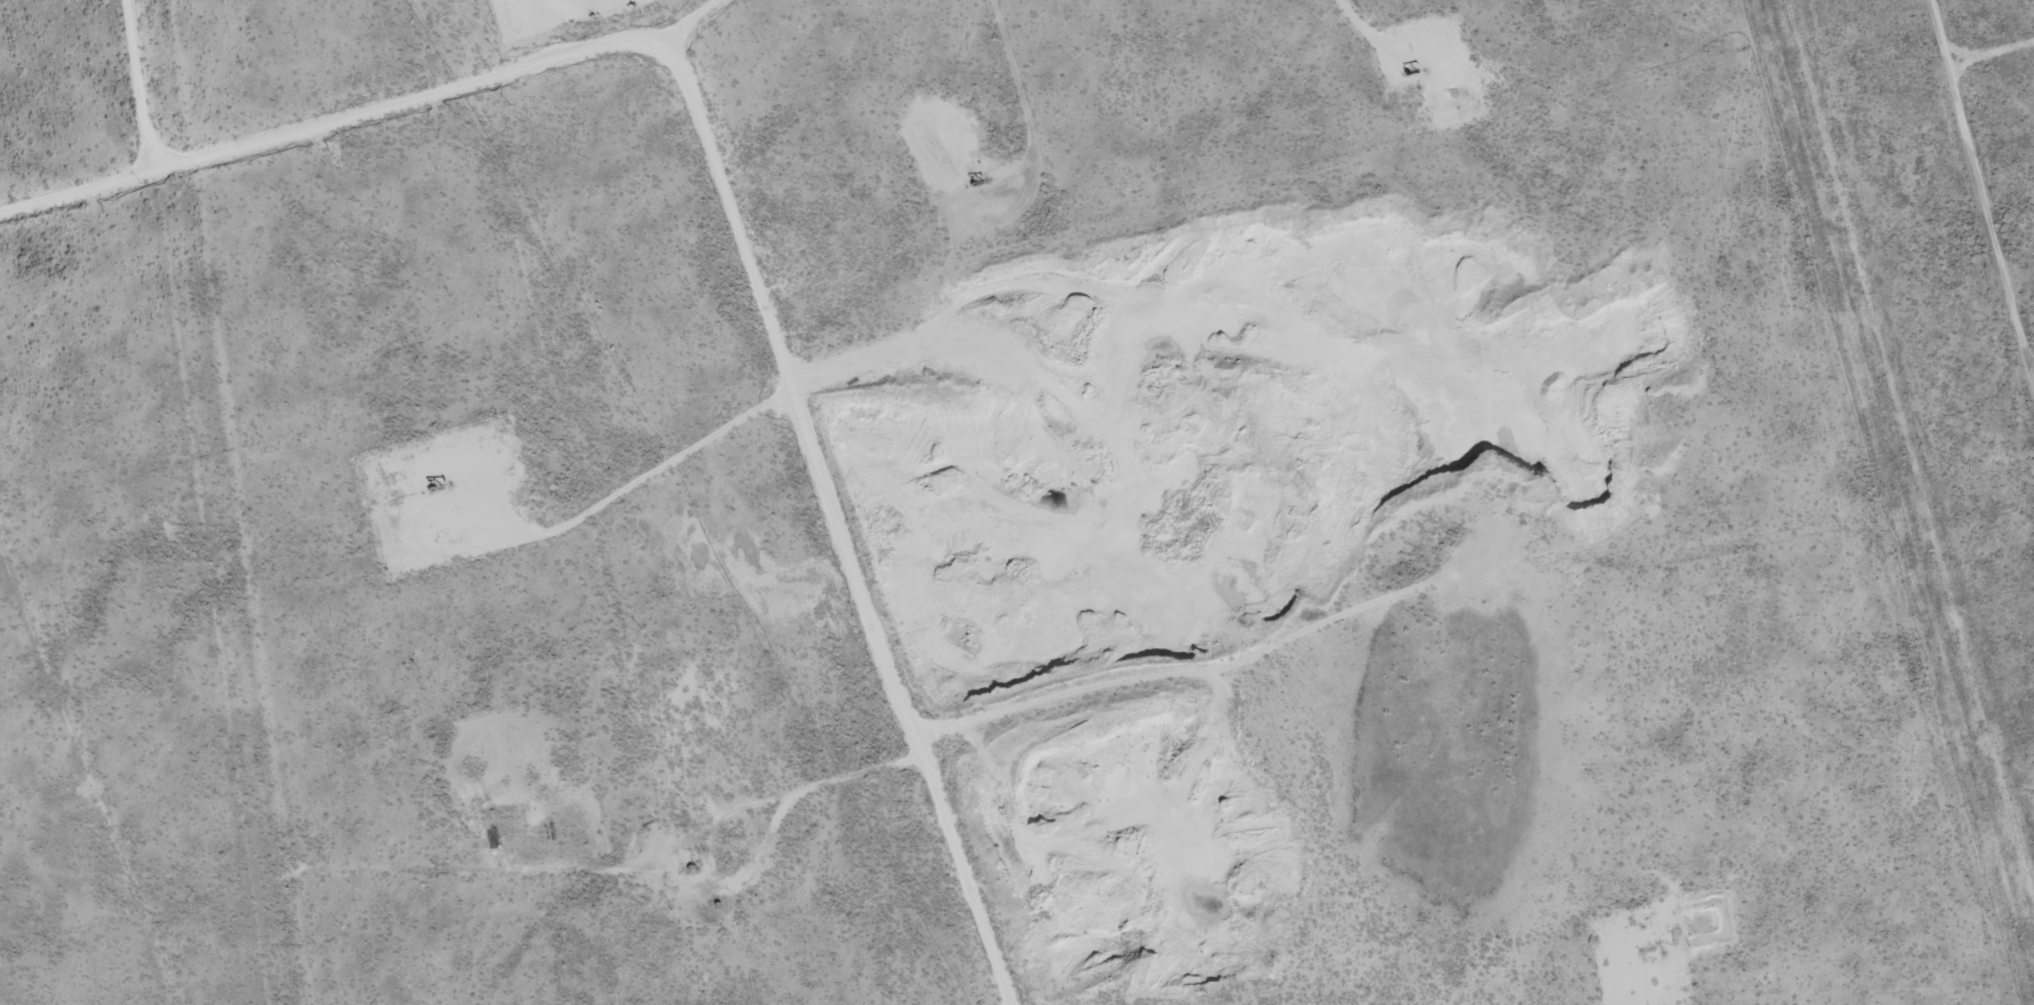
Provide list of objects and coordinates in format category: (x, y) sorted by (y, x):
road: (2006, 102)
road: (737, 193)
petroleum well: (437, 488)

